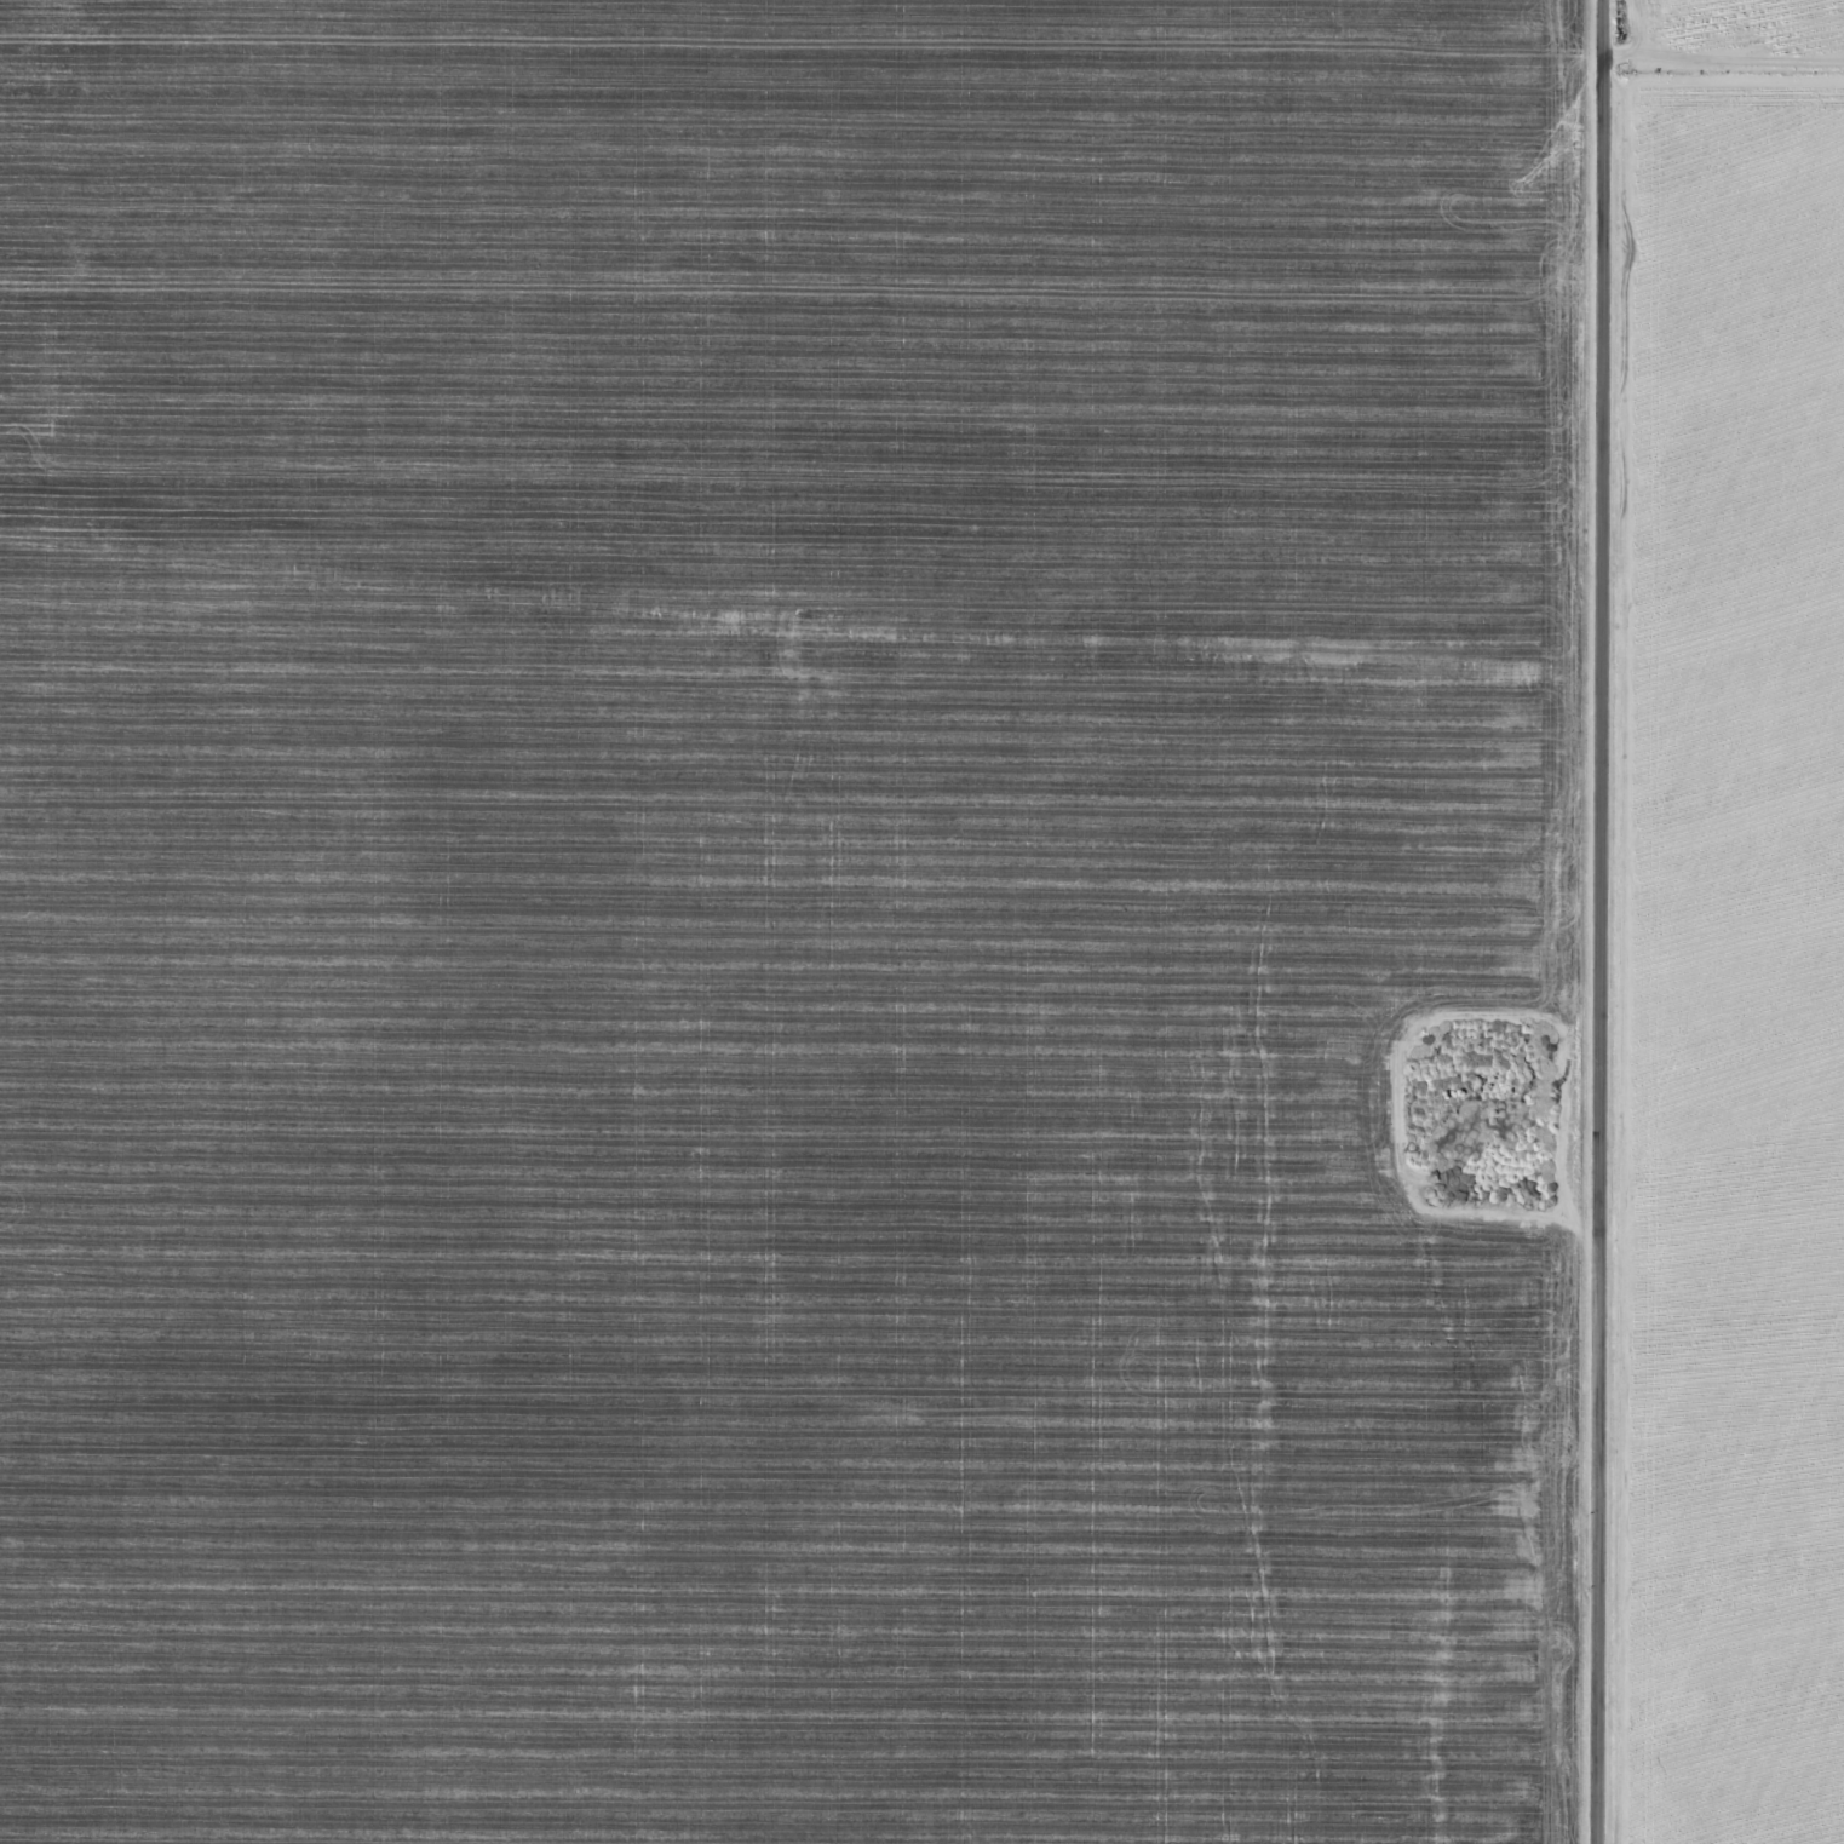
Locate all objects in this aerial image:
road: (1579, 921)

